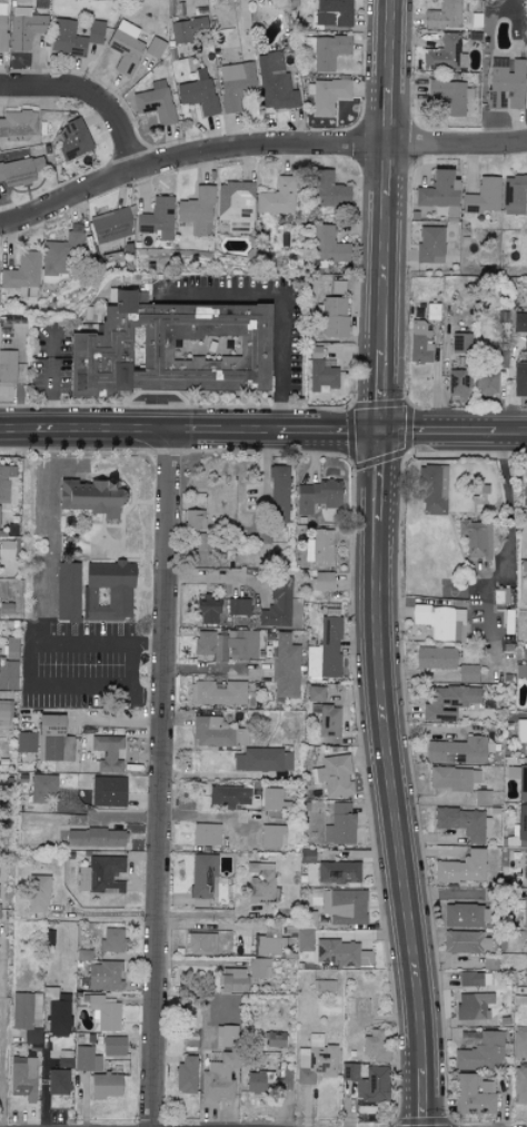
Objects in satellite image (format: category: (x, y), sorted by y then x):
building: (332, 12)
building: (443, 16)
building: (27, 24)
building: (2, 26)
building: (188, 29)
building: (73, 36)
building: (125, 47)
building: (155, 47)
building: (326, 50)
building: (445, 53)
building: (275, 82)
building: (235, 83)
building: (506, 83)
road: (95, 91)
building: (198, 95)
building: (448, 95)
building: (326, 96)
building: (155, 101)
building: (18, 122)
building: (71, 140)
road: (257, 150)
building: (20, 170)
building: (329, 189)
building: (437, 189)
building: (514, 194)
building: (483, 196)
building: (278, 197)
building: (236, 206)
building: (198, 210)
road: (387, 216)
building: (158, 218)
building: (112, 225)
building: (429, 244)
building: (327, 246)
building: (62, 254)
building: (22, 274)
road: (282, 299)
building: (431, 310)
building: (334, 316)
building: (519, 322)
building: (460, 342)
building: (419, 343)
building: (525, 344)
building: (171, 348)
building: (7, 366)
building: (320, 372)
building: (490, 375)
building: (519, 378)
building: (458, 382)
road: (50, 396)
road: (188, 433)
traffic signals: (378, 433)
road: (453, 434)
building: (6, 481)
building: (432, 488)
building: (278, 493)
building: (317, 495)
building: (90, 496)
building: (195, 520)
building: (476, 537)
building: (526, 541)
road: (506, 546)
building: (319, 547)
building: (6, 548)
road: (42, 556)
road: (220, 576)
building: (321, 581)
building: (67, 591)
building: (108, 591)
building: (500, 595)
building: (277, 604)
building: (238, 606)
building: (207, 610)
building: (440, 622)
building: (227, 644)
building: (10, 647)
building: (326, 650)
building: (524, 652)
building: (436, 658)
road: (26, 665)
building: (286, 666)
road: (216, 669)
building: (521, 671)
building: (467, 673)
building: (8, 674)
building: (217, 693)
building: (315, 693)
building: (449, 702)
building: (4, 714)
building: (327, 720)
building: (216, 733)
building: (521, 733)
building: (52, 739)
building: (26, 742)
building: (459, 751)
building: (107, 753)
building: (262, 760)
building: (334, 775)
building: (453, 779)
building: (518, 779)
road: (163, 780)
road: (395, 780)
building: (42, 789)
building: (108, 791)
building: (228, 795)
building: (481, 798)
building: (272, 799)
road: (106, 817)
road: (207, 818)
building: (464, 823)
building: (339, 824)
building: (519, 830)
building: (206, 834)
building: (272, 836)
building: (95, 838)
building: (526, 867)
building: (461, 869)
building: (338, 872)
building: (100, 874)
building: (202, 880)
building: (260, 882)
building: (37, 893)
building: (344, 903)
building: (525, 912)
building: (466, 916)
building: (305, 931)
building: (111, 940)
building: (269, 942)
building: (465, 942)
building: (200, 943)
building: (341, 953)
road: (1, 956)
building: (259, 968)
building: (526, 968)
road: (0, 971)
building: (103, 976)
building: (475, 979)
building: (232, 980)
building: (325, 986)
road: (1, 991)
building: (474, 1007)
building: (57, 1014)
building: (105, 1014)
building: (27, 1015)
building: (226, 1035)
building: (275, 1039)
building: (520, 1042)
building: (375, 1045)
building: (113, 1046)
building: (481, 1054)
road: (1, 1059)
building: (86, 1059)
building: (315, 1060)
building: (186, 1074)
building: (22, 1077)
building: (218, 1078)
building: (57, 1081)
building: (257, 1081)
building: (368, 1081)
building: (520, 1085)
building: (105, 1086)
road: (43, 1095)
building: (473, 1096)

